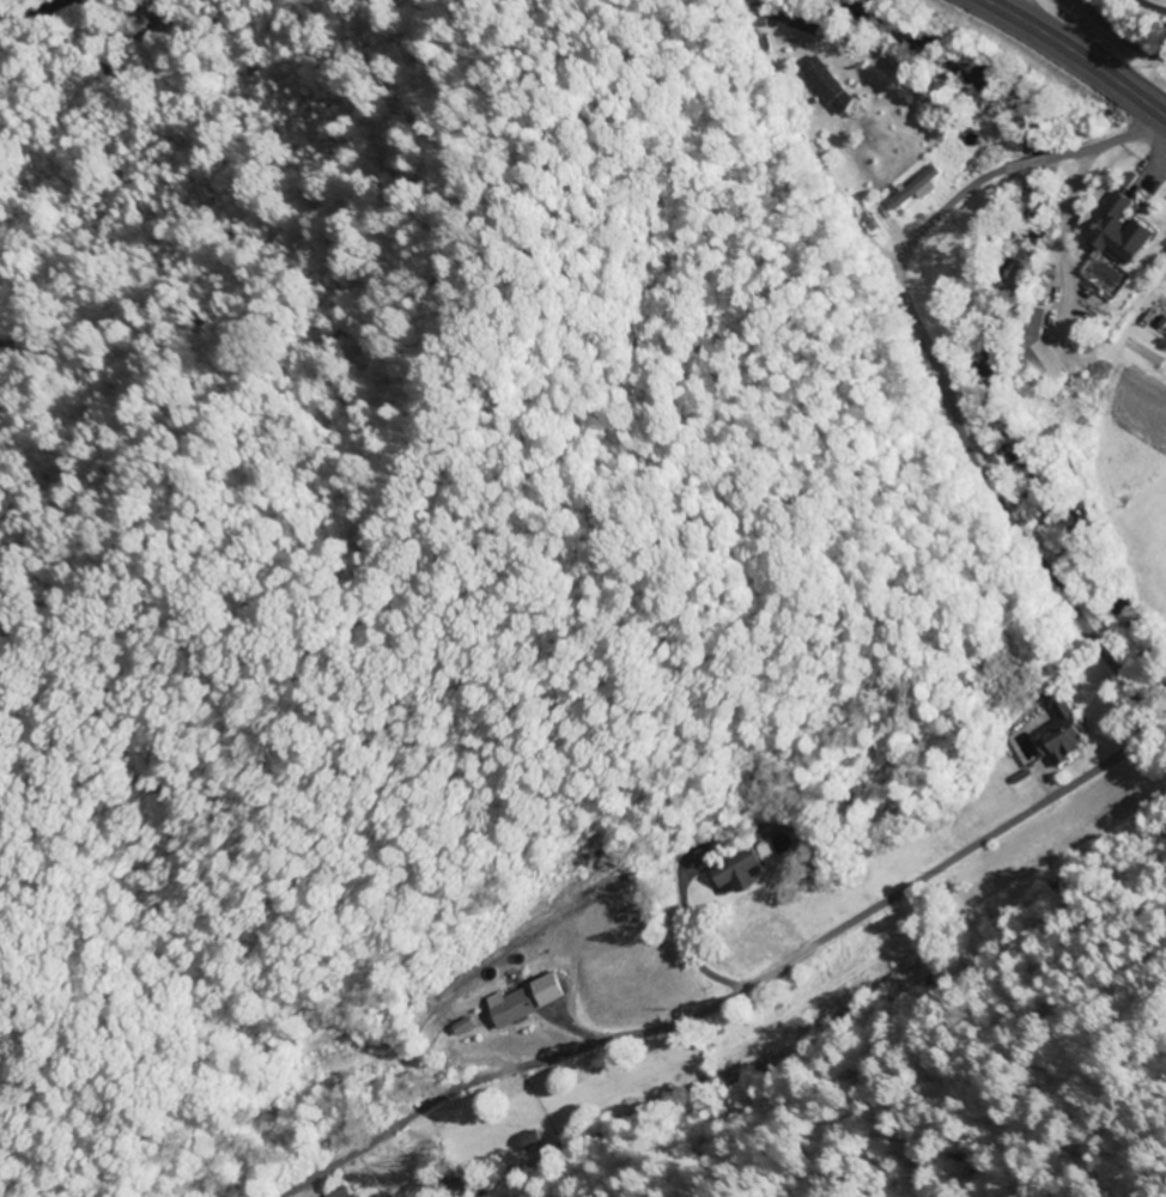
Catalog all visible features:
road: (1018, 8)
building: (801, 28)
road: (1119, 34)
road: (1076, 56)
building: (1123, 230)
building: (1062, 735)
road: (1089, 771)
building: (742, 873)
building: (530, 999)
building: (466, 1026)
building: (346, 1192)

